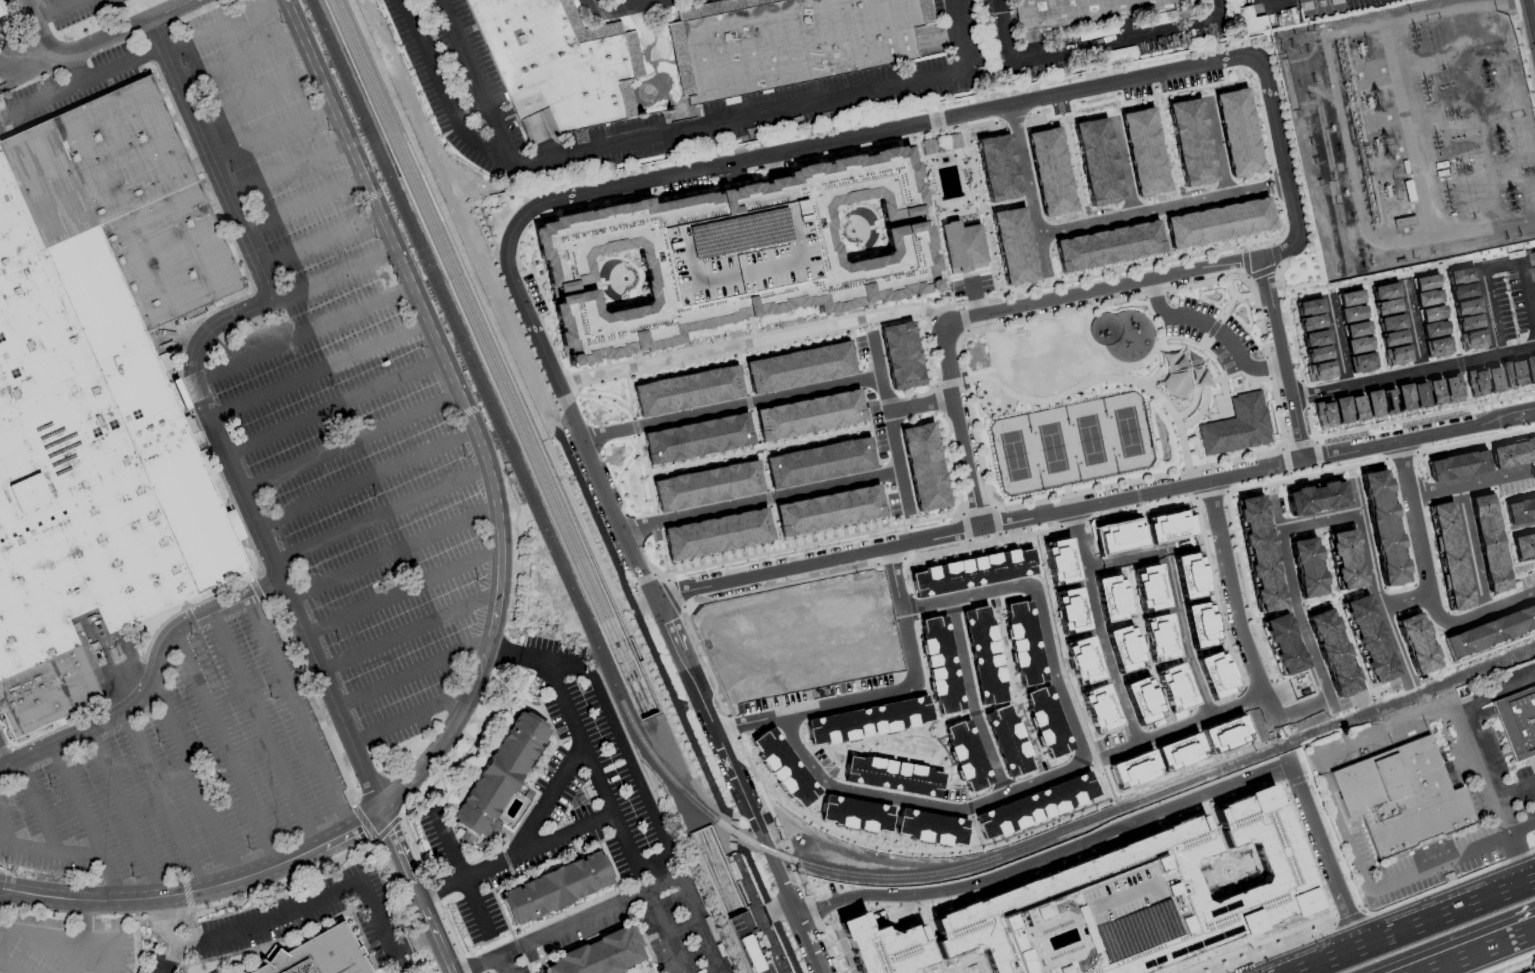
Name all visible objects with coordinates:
road: (632, 2)
road: (1278, 3)
road: (999, 5)
park: (1319, 6)
road: (620, 7)
road: (590, 8)
building: (1090, 10)
road: (59, 11)
building: (1, 13)
road: (1530, 19)
building: (1249, 21)
road: (224, 27)
road: (959, 36)
road: (99, 40)
building: (793, 43)
road: (1096, 44)
building: (564, 62)
road: (241, 64)
road: (71, 69)
road: (473, 82)
road: (81, 84)
road: (1065, 92)
road: (443, 93)
road: (256, 99)
road: (738, 121)
building: (1238, 132)
power substation: (1413, 133)
road: (272, 136)
building: (1191, 142)
building: (927, 146)
road: (1215, 148)
building: (1143, 150)
building: (1096, 161)
building: (997, 167)
road: (1122, 169)
building: (1050, 171)
road: (288, 172)
road: (921, 177)
road: (737, 180)
road: (304, 207)
road: (1098, 220)
building: (1219, 221)
road: (891, 223)
road: (935, 225)
road: (838, 233)
road: (319, 243)
building: (961, 244)
building: (1108, 244)
building: (1013, 245)
building: (1532, 258)
building: (739, 259)
road: (1496, 268)
building: (1533, 273)
building: (1459, 275)
road: (638, 276)
road: (955, 276)
road: (329, 281)
building: (1424, 282)
road: (585, 287)
road: (1043, 287)
building: (1462, 290)
building: (1383, 292)
road: (1233, 296)
building: (1426, 297)
building: (1350, 299)
building: (1308, 306)
building: (1465, 306)
building: (1386, 308)
road: (1003, 309)
road: (1225, 309)
building: (1430, 313)
building: (1352, 315)
building: (1310, 322)
building: (1468, 322)
building: (1390, 324)
road: (1412, 327)
road: (1212, 328)
road: (1213, 328)
building: (1433, 328)
building: (1356, 331)
road: (303, 336)
building: (1392, 339)
building: (1472, 339)
building: (1315, 340)
road: (1205, 341)
road: (1336, 343)
building: (1358, 346)
building: (1438, 347)
building: (1317, 356)
railway: (494, 357)
building: (901, 357)
road: (1199, 357)
building: (1397, 357)
railway: (484, 360)
road: (1217, 363)
building: (1361, 364)
road: (1134, 365)
building: (1533, 365)
road: (1165, 368)
building: (800, 369)
road: (319, 372)
road: (1125, 372)
building: (1524, 372)
building: (1320, 373)
road: (567, 374)
road: (880, 374)
road: (1412, 374)
building: (1508, 376)
road: (1099, 378)
building: (1492, 379)
road: (1208, 381)
building: (1475, 383)
road: (1206, 387)
road: (1253, 387)
building: (1451, 388)
road: (1245, 390)
park: (1119, 391)
building: (688, 393)
building: (1434, 393)
building: (99, 395)
building: (1418, 396)
building: (1403, 398)
road: (203, 402)
building: (1388, 404)
building: (1372, 405)
road: (732, 407)
road: (335, 408)
road: (464, 408)
building: (1356, 410)
road: (1228, 411)
building: (1341, 412)
building: (1323, 416)
building: (810, 417)
building: (1236, 427)
road: (891, 428)
park: (1127, 431)
building: (698, 440)
park: (1090, 440)
road: (351, 444)
park: (1052, 448)
road: (1278, 449)
building: (1513, 452)
park: (1013, 455)
building: (819, 465)
building: (1457, 465)
building: (924, 469)
road: (1496, 479)
road: (366, 480)
building: (708, 488)
road: (1433, 493)
building: (1315, 497)
road: (762, 500)
road: (1093, 503)
building: (1519, 509)
building: (830, 512)
road: (381, 517)
road: (1318, 521)
building: (1169, 526)
building: (1382, 526)
building: (717, 536)
building: (1119, 536)
road: (1417, 542)
building: (1488, 542)
building: (1523, 545)
building: (1259, 552)
road: (391, 555)
building: (1450, 555)
building: (1345, 558)
building: (1060, 560)
building: (1306, 566)
building: (972, 572)
building: (1189, 576)
road: (1476, 577)
road: (1371, 584)
building: (1148, 588)
road: (1230, 588)
road: (401, 593)
road: (1171, 597)
building: (1110, 598)
road: (636, 602)
building: (1069, 610)
road: (902, 616)
road: (664, 621)
road: (638, 623)
road: (1447, 623)
building: (1200, 624)
road: (1097, 628)
building: (1490, 629)
road: (408, 633)
building: (1159, 637)
building: (1368, 638)
building: (1415, 641)
building: (1025, 643)
building: (1283, 643)
road: (1306, 643)
railway: (596, 644)
road: (504, 645)
building: (1123, 648)
railway: (1526, 650)
building: (1331, 652)
road: (534, 654)
building: (983, 656)
building: (1083, 660)
building: (941, 663)
building: (1215, 674)
road: (411, 675)
road: (152, 688)
building: (1175, 689)
road: (1497, 689)
road: (971, 699)
building: (1144, 701)
road: (813, 706)
building: (1099, 708)
road: (299, 716)
road: (410, 718)
building: (867, 720)
road: (938, 720)
railway: (1347, 720)
building: (1048, 721)
building: (1518, 725)
road: (1184, 726)
road: (919, 731)
road: (263, 733)
building: (1224, 734)
building: (1007, 740)
road: (622, 744)
road: (837, 748)
building: (1179, 751)
road: (225, 752)
building: (967, 755)
road: (934, 765)
road: (1068, 768)
building: (1133, 768)
building: (893, 775)
building: (498, 778)
road: (196, 784)
road: (601, 787)
road: (1516, 790)
road: (1494, 792)
road: (549, 796)
building: (803, 796)
building: (1409, 799)
road: (163, 804)
building: (1035, 805)
road: (768, 808)
road: (37, 809)
building: (855, 814)
road: (126, 816)
road: (1138, 818)
road: (892, 823)
road: (86, 825)
road: (974, 827)
building: (930, 828)
road: (732, 830)
road: (5, 835)
road: (1347, 836)
road: (920, 850)
road: (513, 853)
road: (50, 854)
road: (789, 858)
road: (284, 864)
railway: (721, 870)
railway: (715, 872)
road: (460, 874)
railway: (710, 875)
road: (1449, 883)
building: (555, 887)
road: (414, 892)
road: (637, 894)
building: (1109, 901)
road: (90, 903)
road: (768, 907)
road: (777, 909)
road: (278, 912)
road: (1348, 918)
road: (816, 920)
road: (1414, 926)
road: (84, 927)
road: (662, 932)
road: (34, 936)
road: (1505, 940)
road: (1259, 942)
building: (751, 953)
building: (598, 954)
road: (172, 955)
building: (317, 955)
road: (88, 960)
road: (1447, 962)
road: (1507, 962)
road: (476, 963)
road: (502, 963)
road: (13, 964)
building: (1530, 971)

